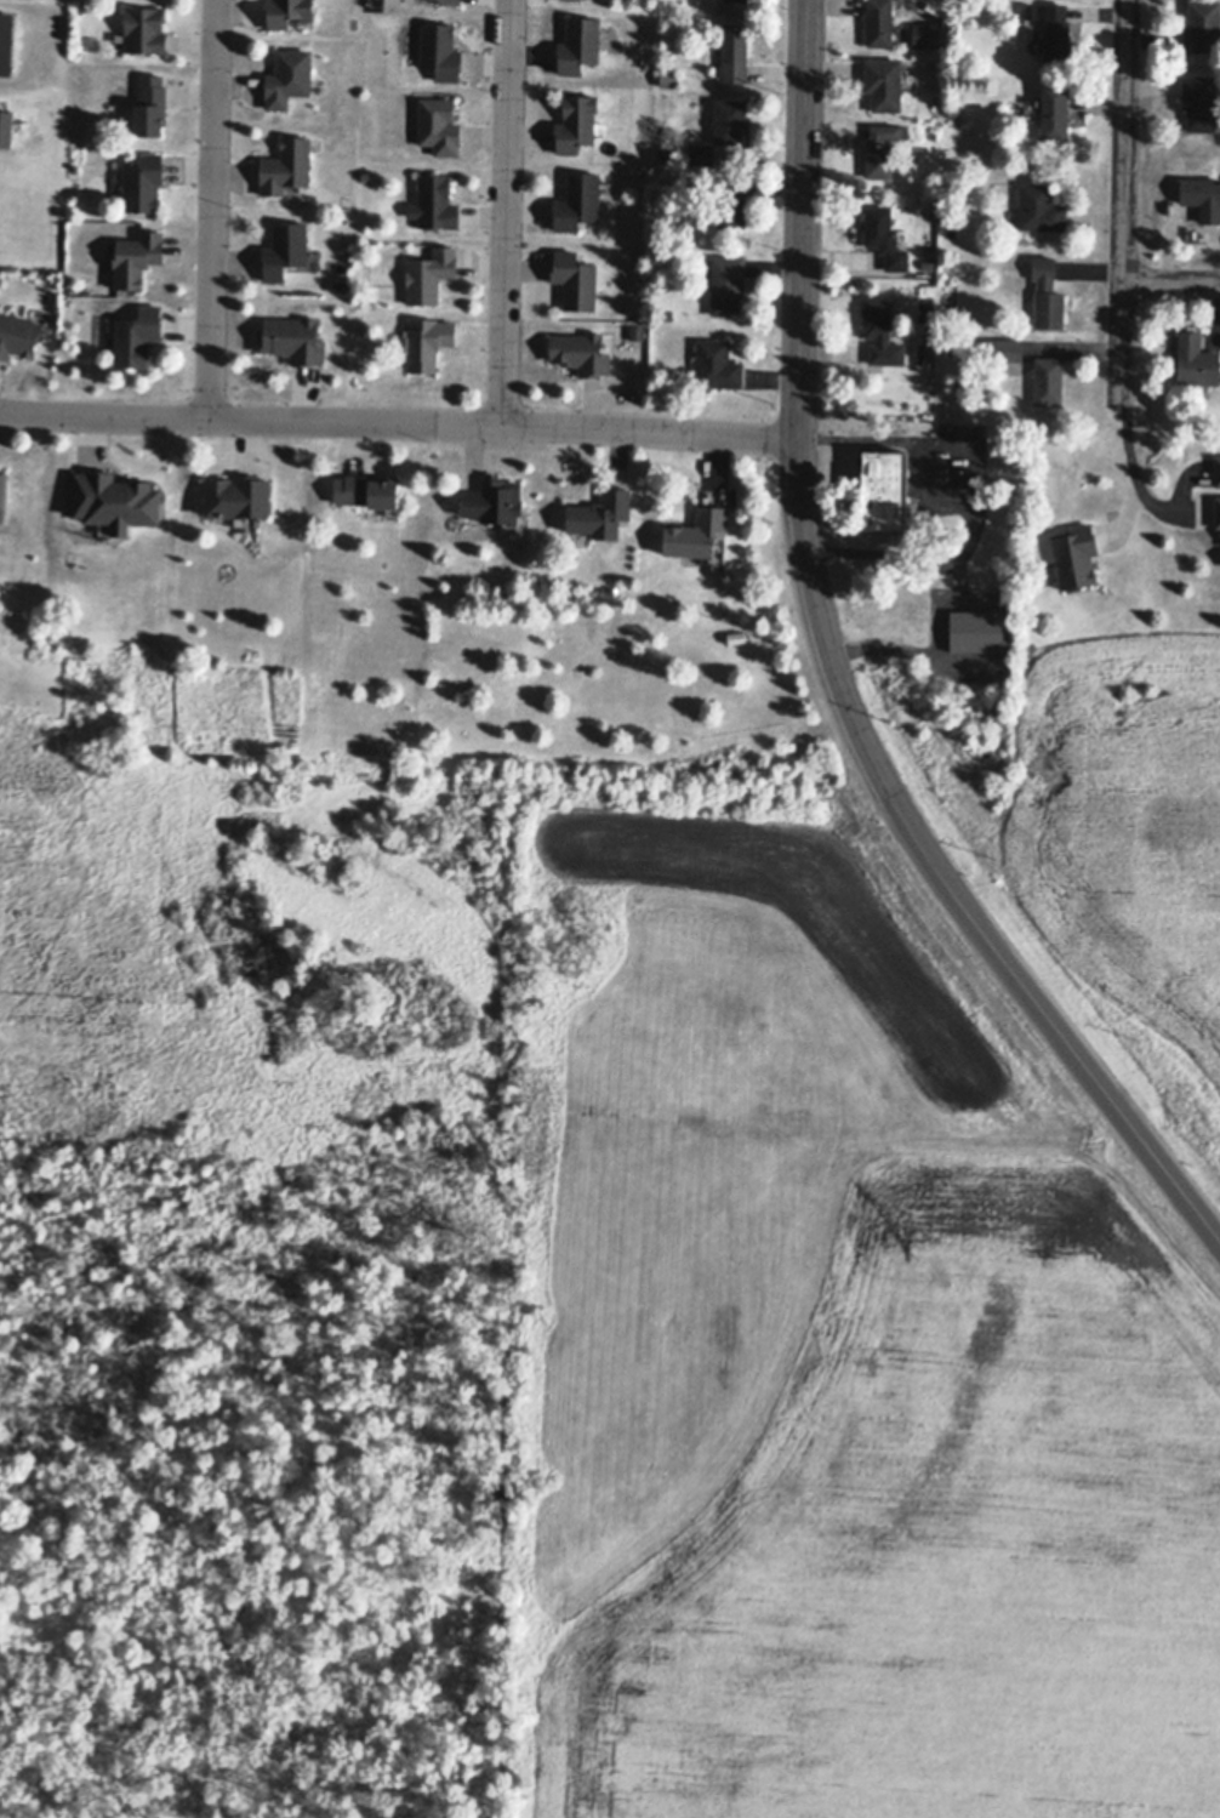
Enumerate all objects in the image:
building: (735, 0)
building: (450, 1)
building: (1031, 11)
building: (286, 12)
building: (303, 23)
building: (879, 23)
building: (1202, 27)
building: (144, 30)
building: (1056, 33)
building: (578, 45)
building: (440, 51)
building: (734, 52)
building: (289, 78)
building: (669, 78)
building: (883, 84)
building: (1199, 101)
building: (150, 107)
building: (952, 110)
building: (1054, 112)
building: (729, 121)
building: (576, 124)
building: (438, 125)
building: (6, 131)
building: (880, 150)
building: (665, 153)
building: (701, 154)
building: (286, 166)
building: (143, 184)
building: (1202, 196)
building: (577, 203)
road: (1125, 203)
building: (434, 204)
building: (730, 204)
road: (215, 207)
building: (1039, 207)
road: (503, 211)
building: (884, 238)
building: (285, 251)
road: (802, 258)
building: (136, 260)
building: (925, 263)
building: (429, 275)
road: (1171, 279)
building: (575, 281)
building: (726, 285)
building: (1047, 296)
building: (667, 315)
building: (880, 332)
building: (18, 335)
building: (137, 337)
building: (292, 341)
building: (427, 343)
building: (1004, 351)
building: (581, 354)
building: (924, 355)
building: (1196, 360)
building: (717, 365)
building: (1048, 381)
road: (397, 420)
road: (1131, 472)
building: (1218, 472)
road: (967, 480)
building: (2, 488)
building: (369, 492)
building: (884, 495)
building: (238, 498)
building: (115, 502)
building: (494, 502)
building: (1218, 514)
building: (600, 517)
building: (696, 536)
building: (1074, 558)
building: (728, 577)
road: (822, 625)
building: (976, 632)
road: (930, 643)
building: (182, 666)
road: (1027, 992)

